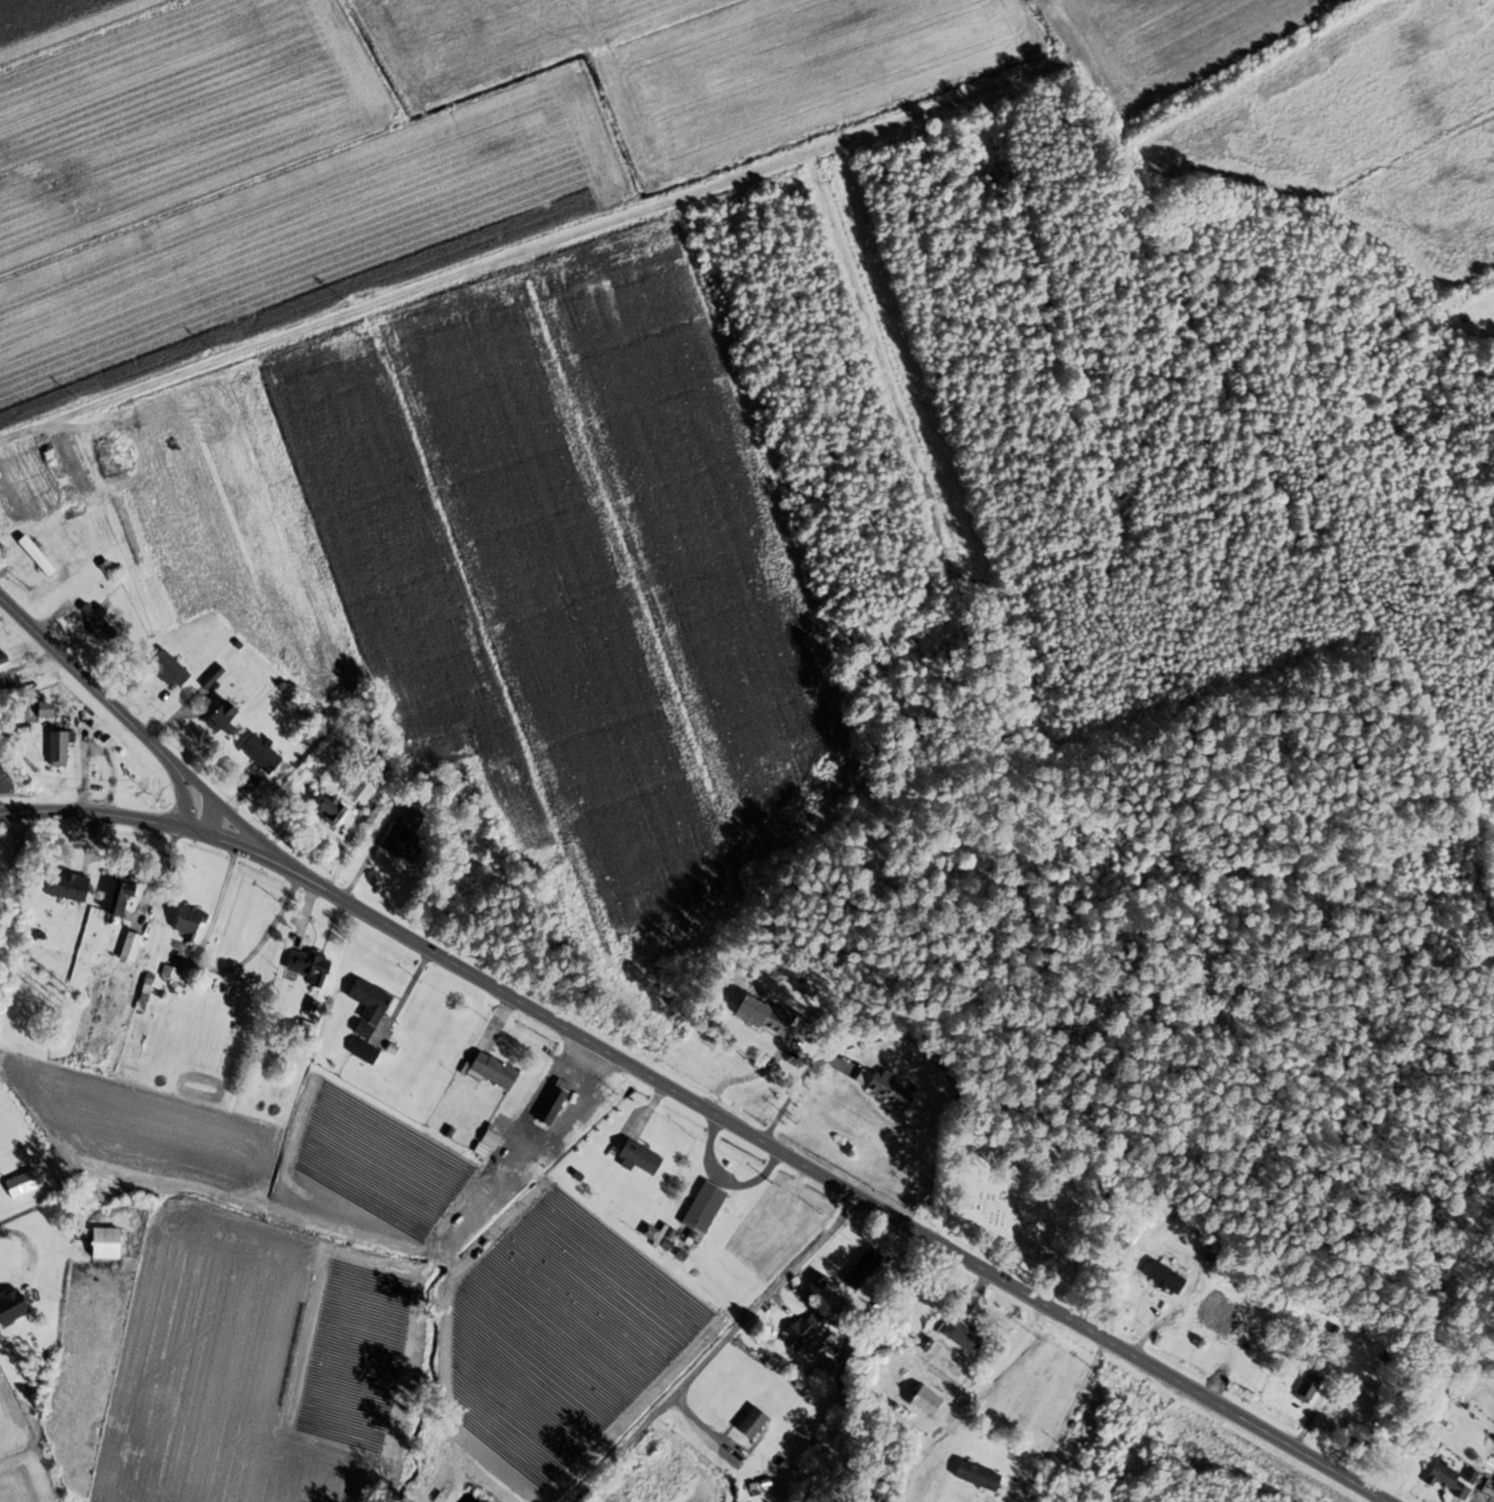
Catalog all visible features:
building: (38, 556)
building: (99, 619)
building: (3, 658)
building: (178, 673)
building: (213, 676)
building: (46, 708)
building: (224, 718)
building: (60, 746)
building: (262, 753)
building: (357, 786)
building: (462, 794)
building: (332, 810)
road: (208, 813)
road: (150, 820)
building: (405, 836)
building: (67, 885)
building: (122, 898)
building: (190, 922)
building: (131, 947)
building: (310, 967)
building: (171, 974)
building: (147, 988)
building: (237, 992)
building: (369, 1007)
building: (765, 1016)
building: (366, 1052)
building: (495, 1070)
road: (742, 1076)
road: (790, 1089)
building: (890, 1090)
road: (659, 1094)
building: (640, 1158)
building: (24, 1183)
building: (609, 1185)
building: (705, 1207)
building: (650, 1234)
building: (107, 1243)
building: (864, 1269)
building: (1166, 1277)
building: (818, 1280)
building: (52, 1282)
building: (12, 1307)
building: (804, 1329)
building: (964, 1334)
road: (710, 1351)
building: (886, 1352)
building: (1309, 1387)
building: (927, 1402)
road: (1063, 1416)
building: (754, 1422)
building: (979, 1476)
building: (1471, 1476)
building: (1448, 1480)
building: (1488, 1498)

